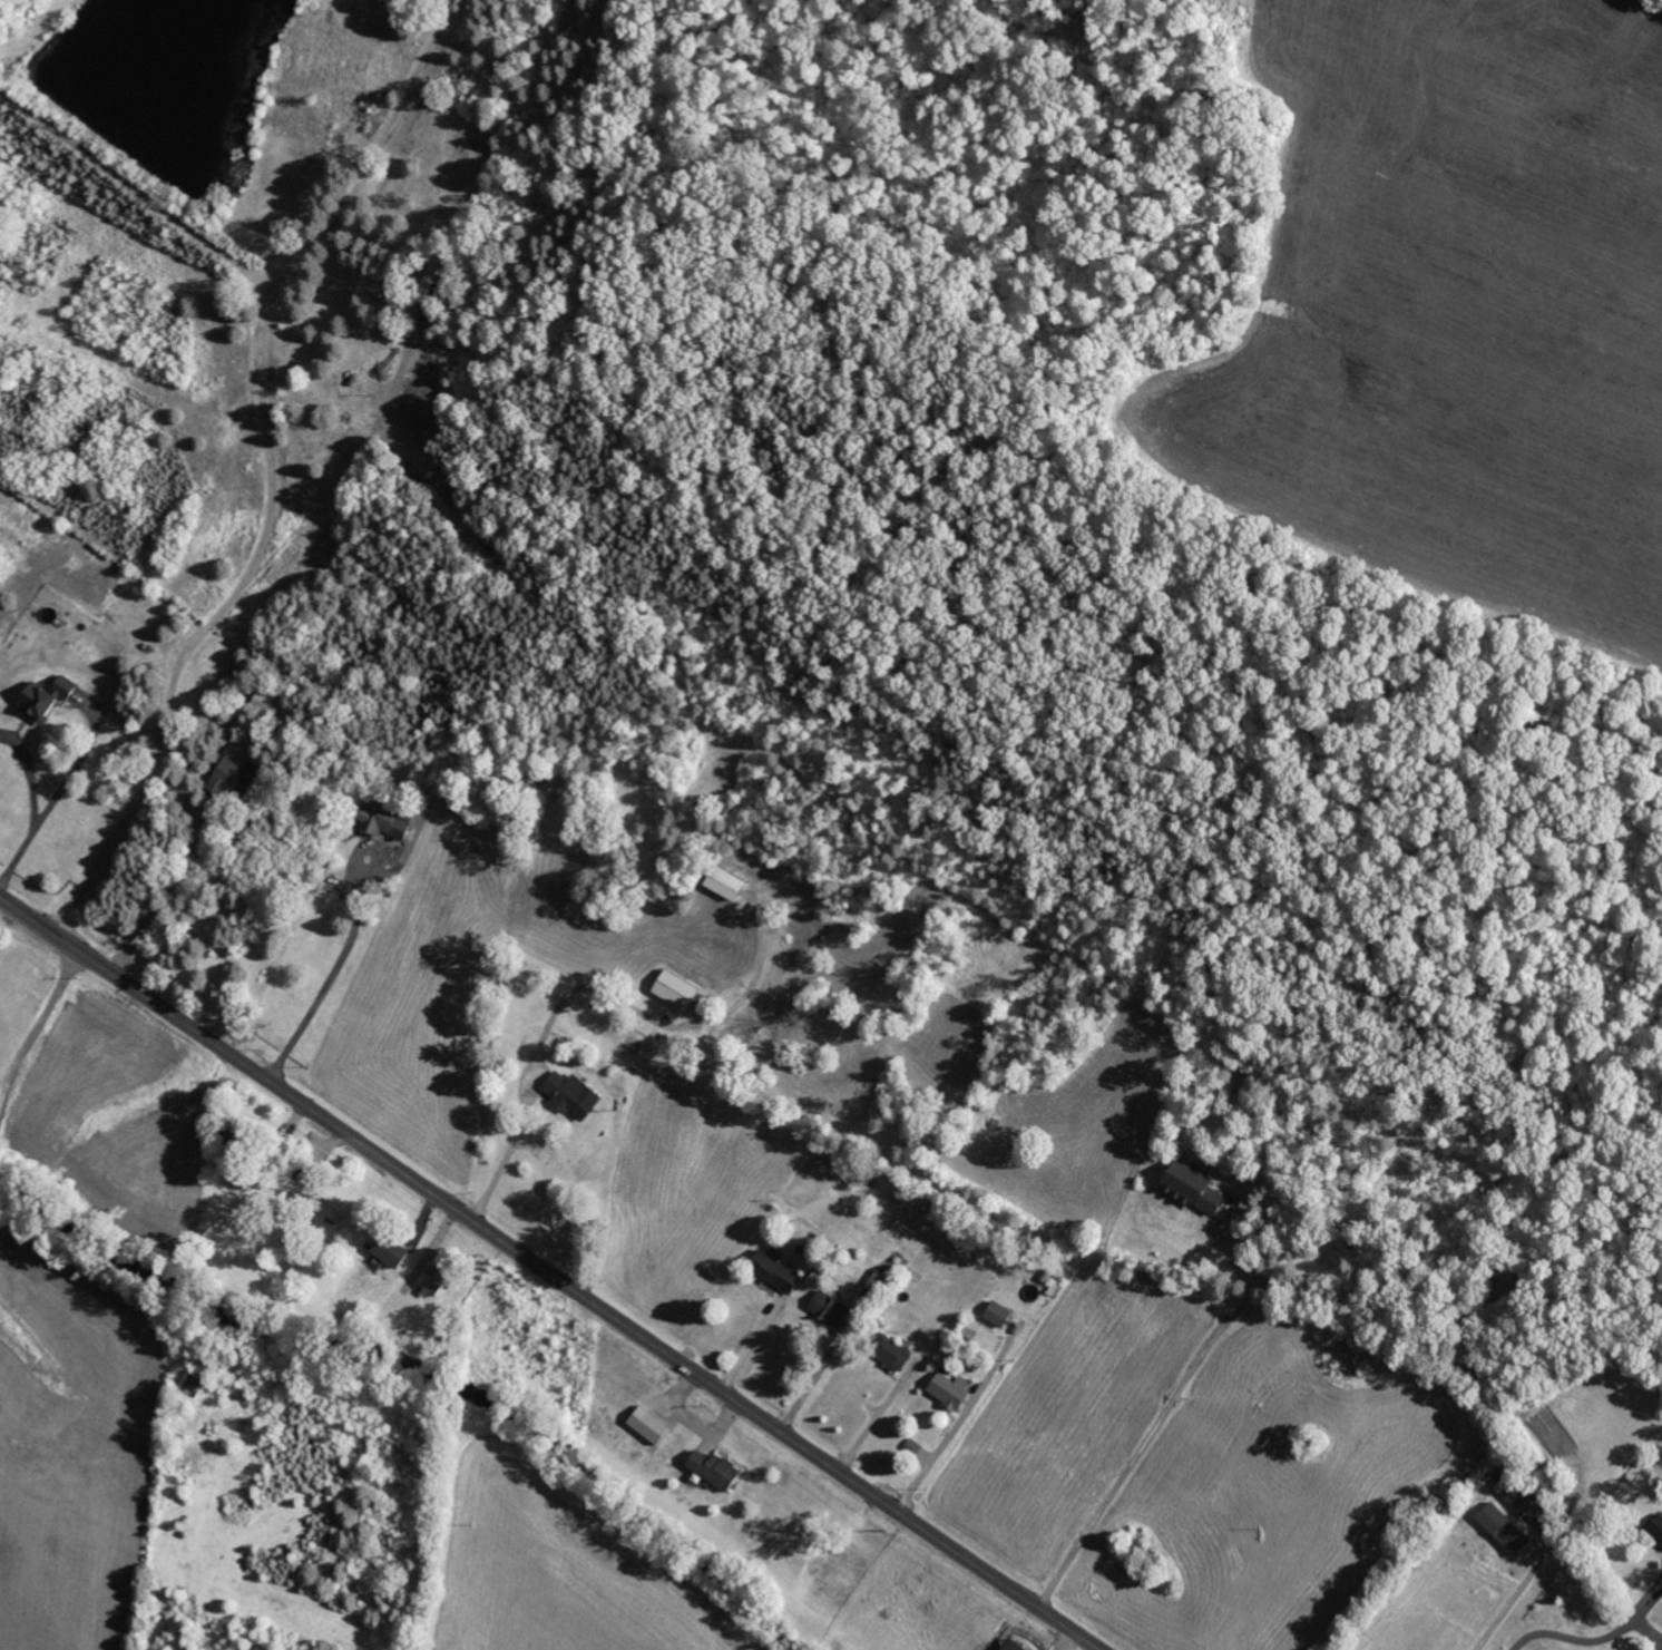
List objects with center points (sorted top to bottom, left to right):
road: (215, 616)
building: (45, 696)
road: (30, 771)
building: (233, 775)
road: (47, 814)
building: (377, 817)
building: (724, 881)
road: (577, 988)
building: (674, 988)
road: (36, 1026)
building: (570, 1093)
building: (1192, 1187)
building: (319, 1209)
building: (389, 1250)
building: (774, 1269)
road: (550, 1272)
building: (432, 1279)
building: (829, 1308)
building: (997, 1312)
road: (752, 1344)
building: (890, 1350)
building: (194, 1378)
building: (949, 1388)
road: (877, 1417)
road: (1161, 1418)
road: (960, 1419)
building: (648, 1424)
building: (714, 1468)
building: (1521, 1497)
building: (1656, 1526)
building: (1504, 1527)
road: (1514, 1599)
road: (1596, 1638)

